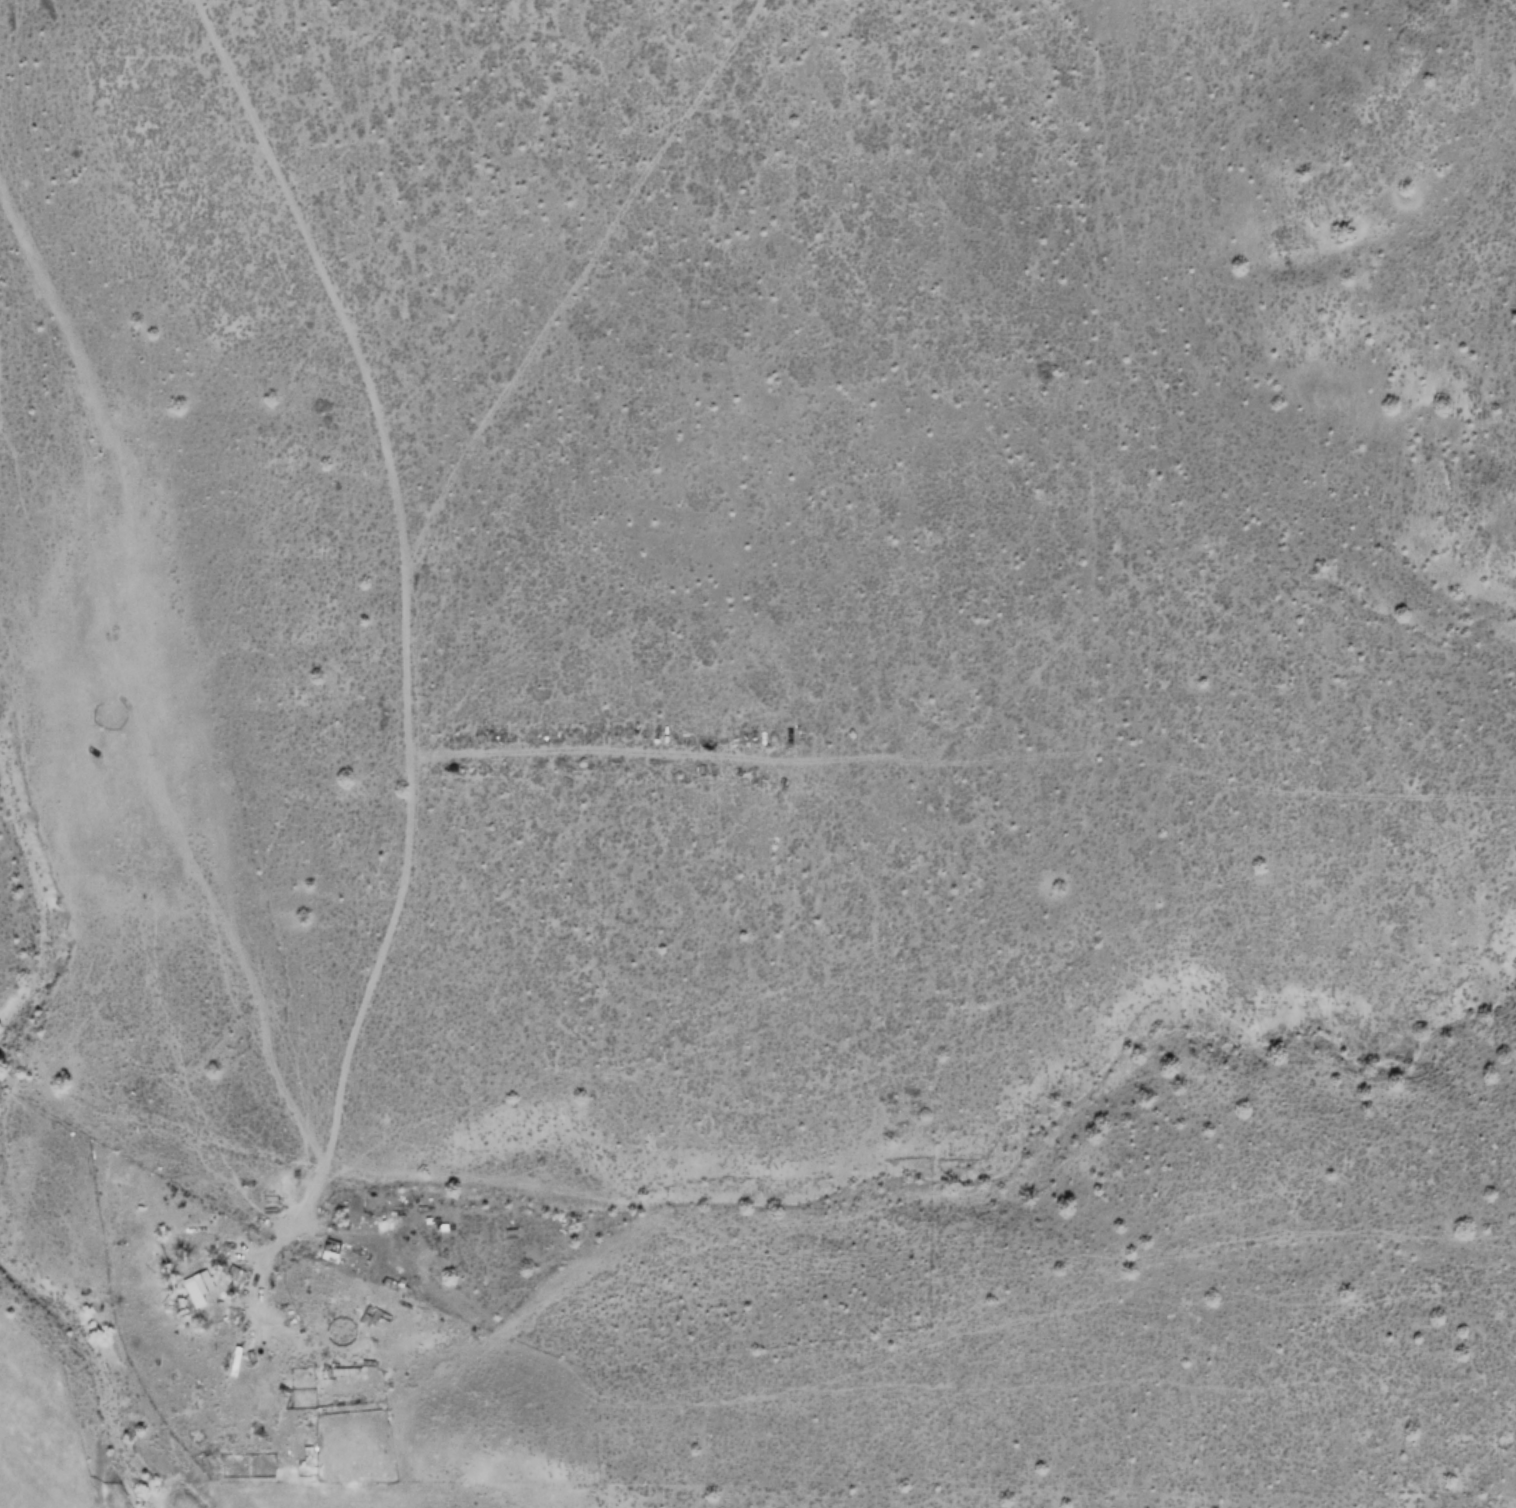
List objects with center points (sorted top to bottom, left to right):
building: (332, 1251)
building: (200, 1287)
building: (237, 1361)

